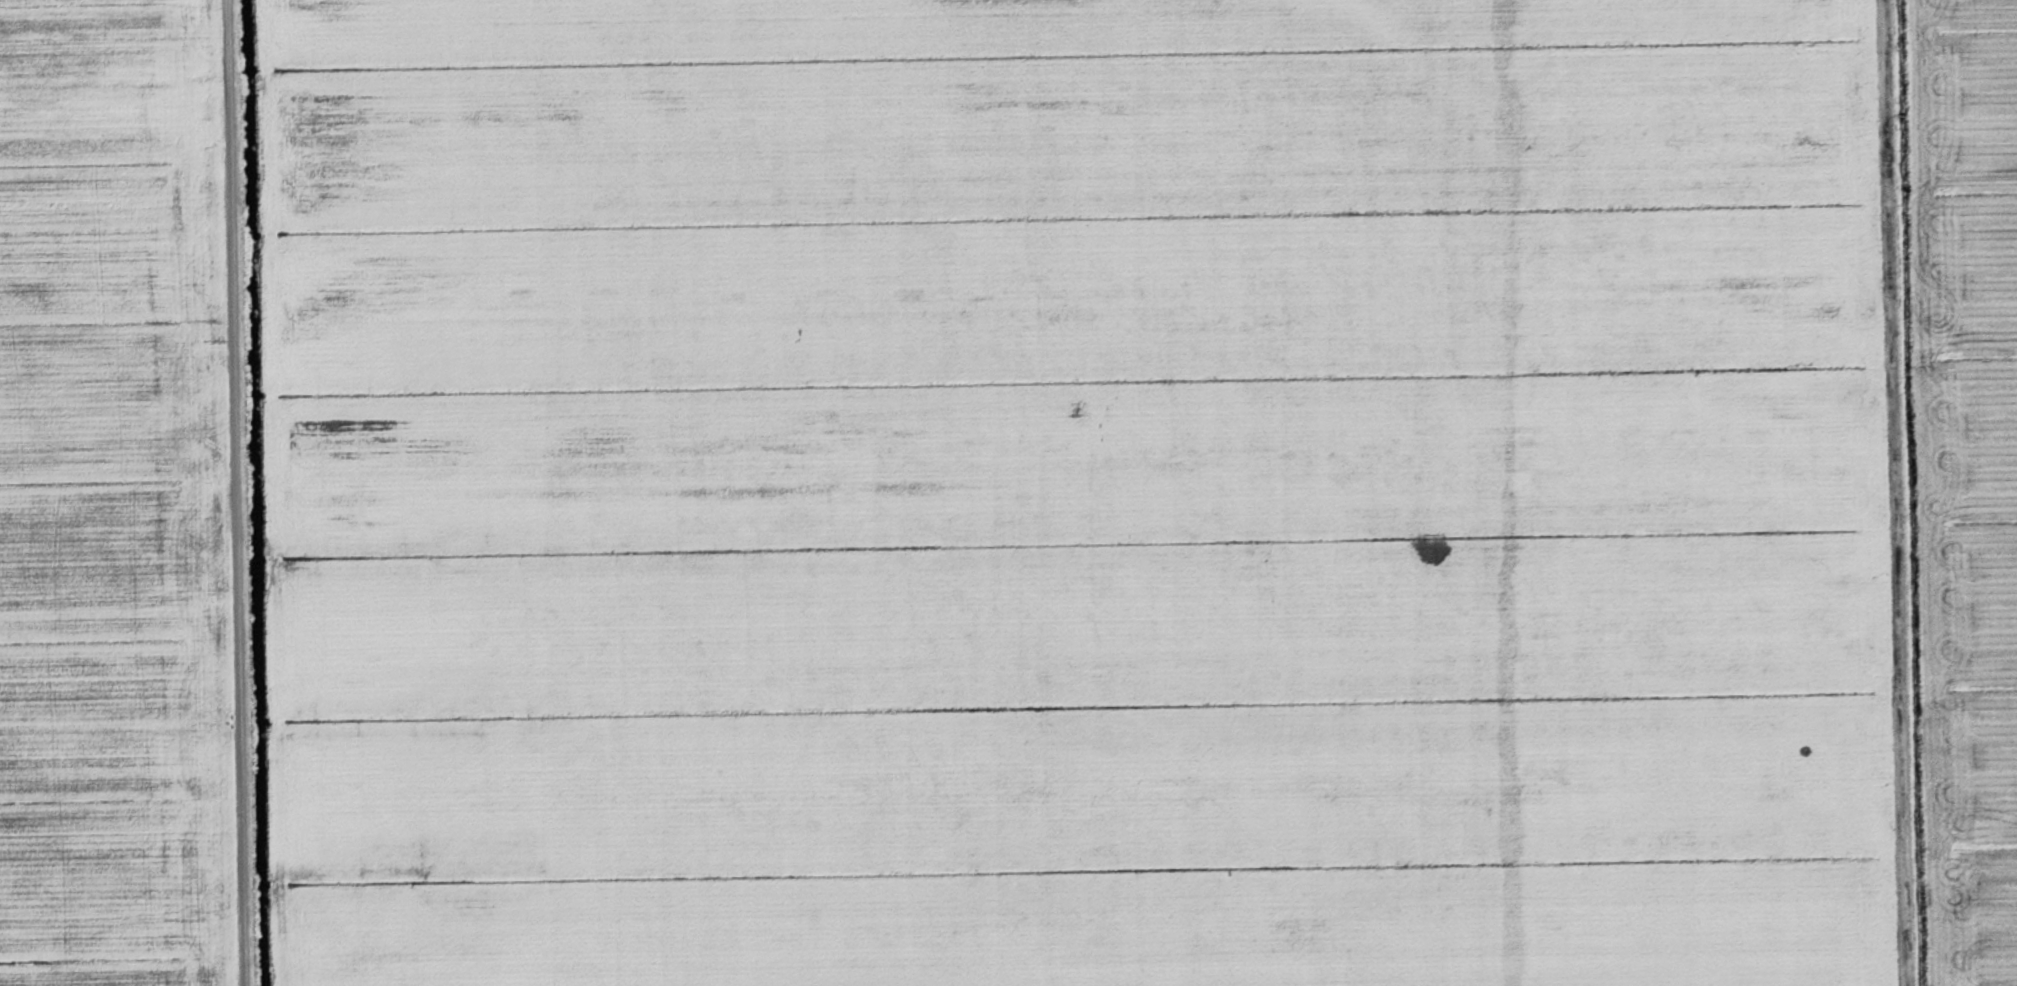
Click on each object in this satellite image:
crop: (1968, 475)
road: (227, 493)
crop: (1078, 493)
road: (1900, 493)

